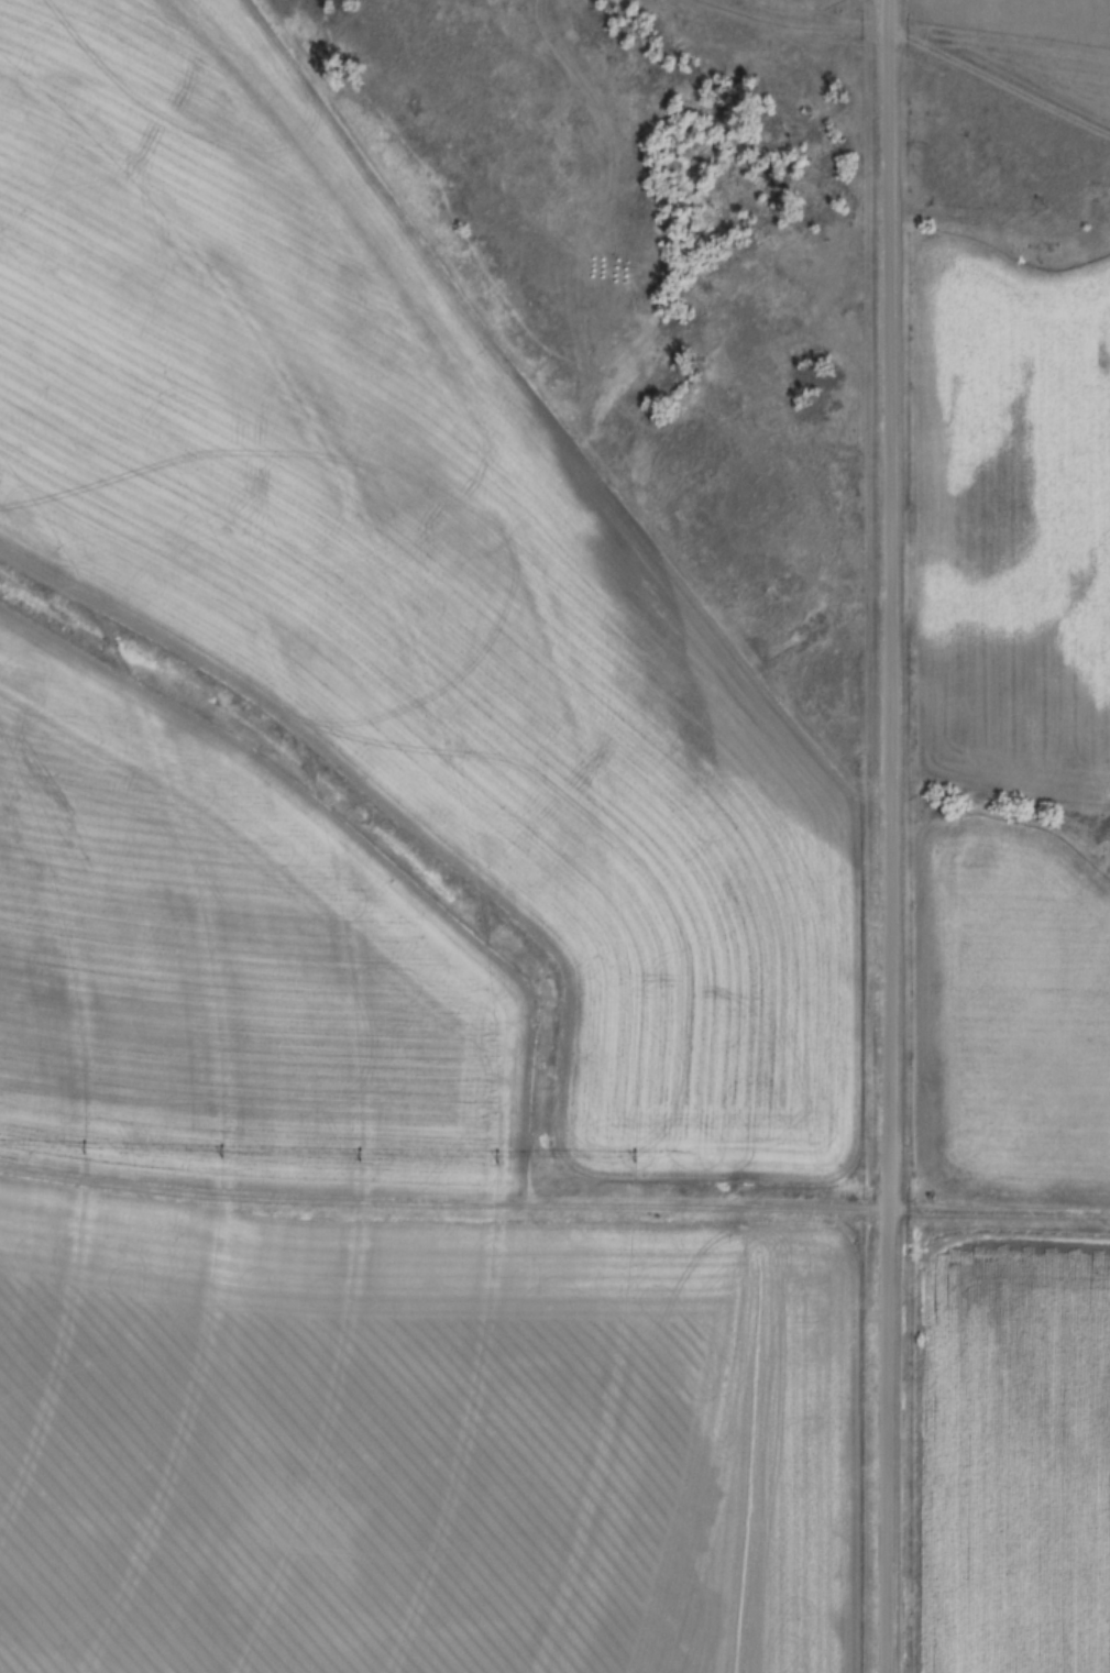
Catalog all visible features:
road: (888, 836)

